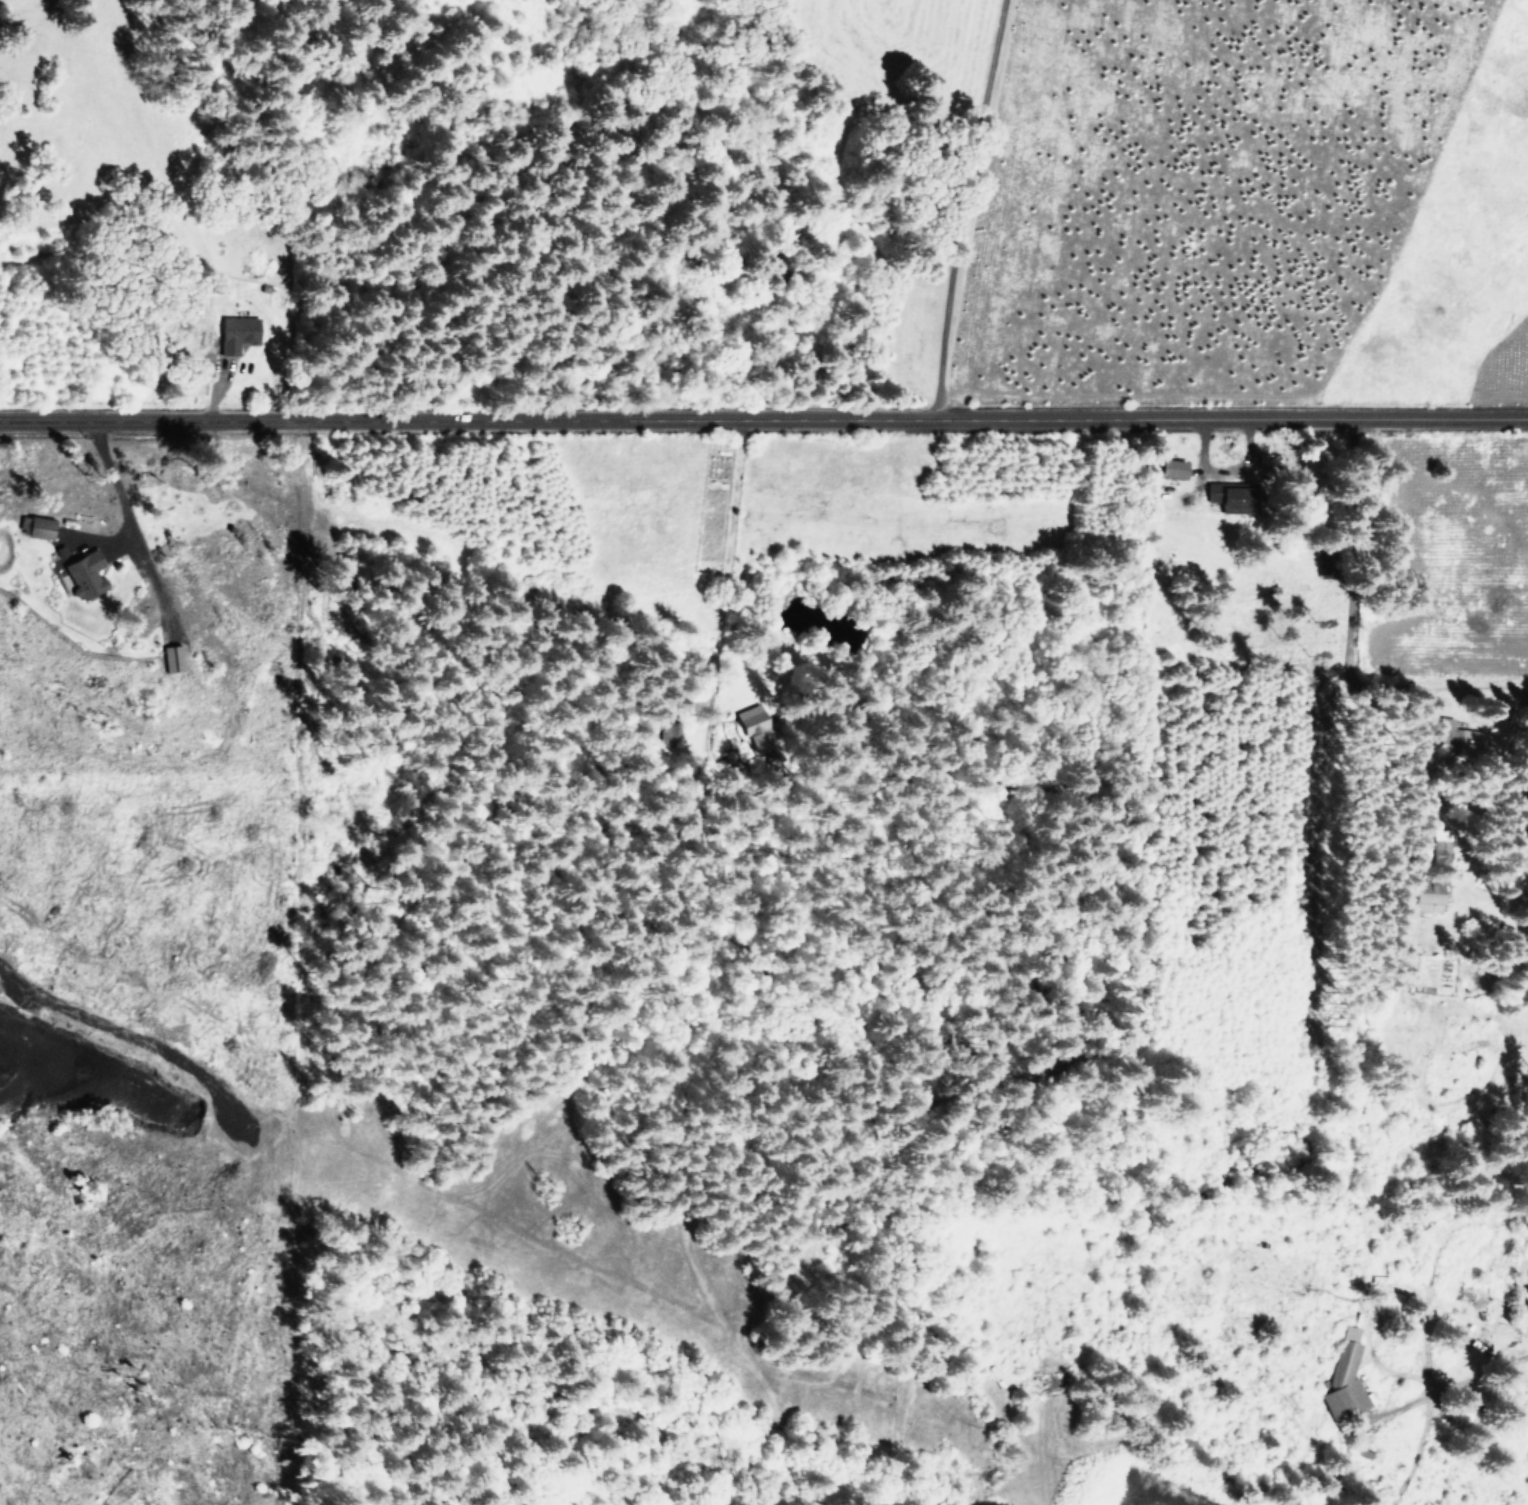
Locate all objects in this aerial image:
road: (174, 210)
road: (963, 210)
building: (237, 332)
road: (1132, 420)
road: (368, 422)
building: (1169, 466)
building: (1226, 493)
road: (122, 503)
road: (726, 519)
building: (82, 572)
building: (1423, 895)
road: (21, 1092)
quarry: (78, 1100)
building: (1526, 1281)
road: (1390, 1315)
building: (1344, 1379)

